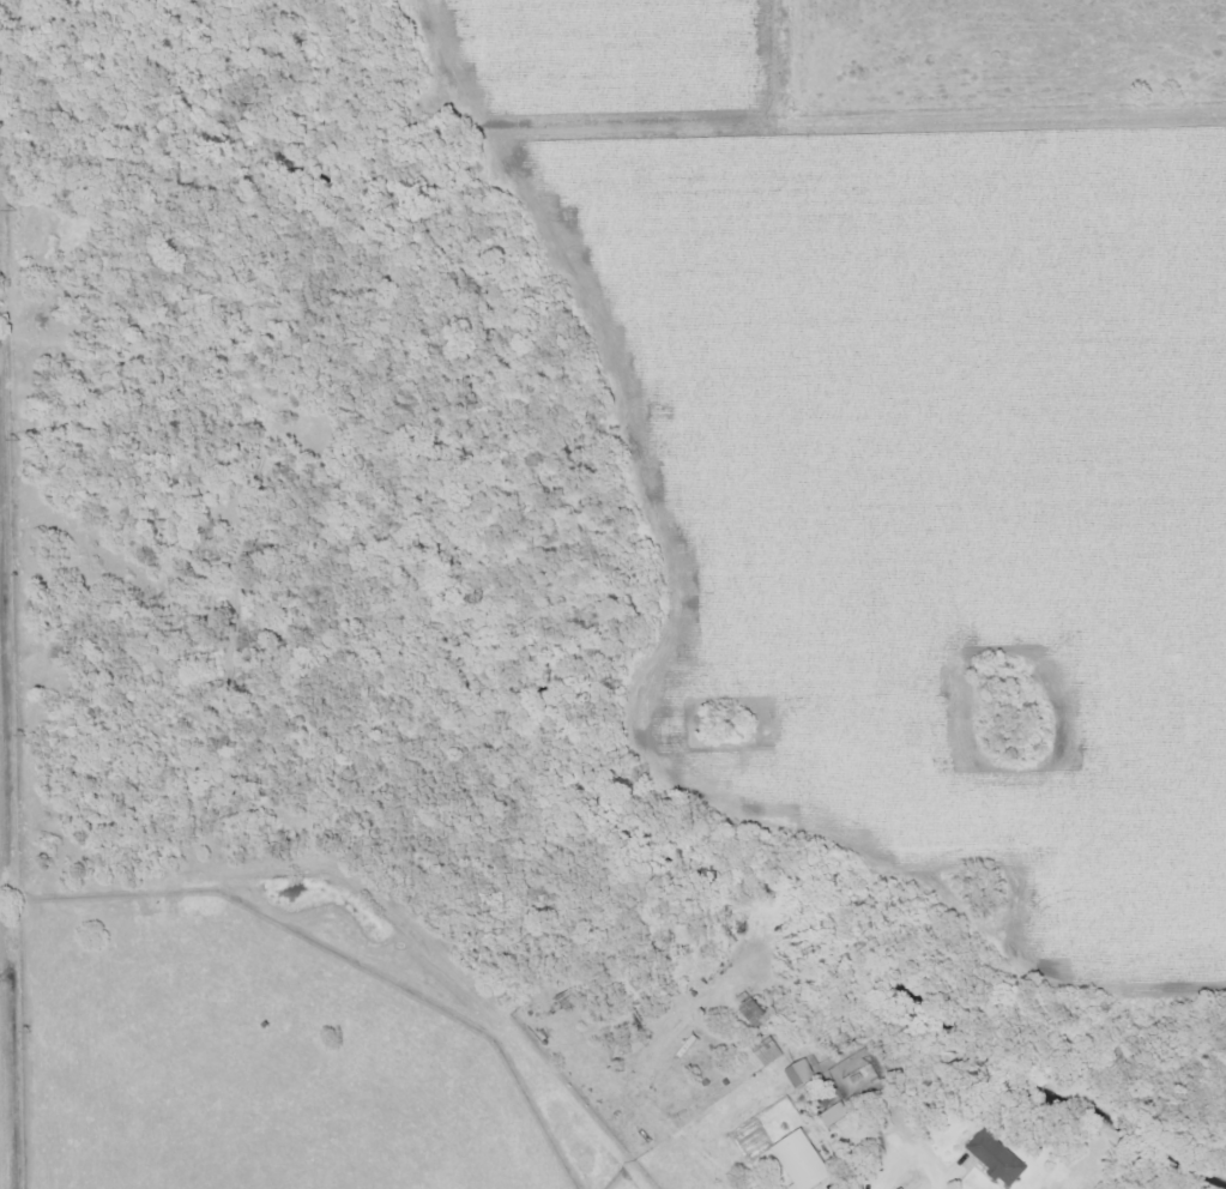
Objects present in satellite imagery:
building: (793, 1072)
building: (990, 1155)
building: (796, 1160)

